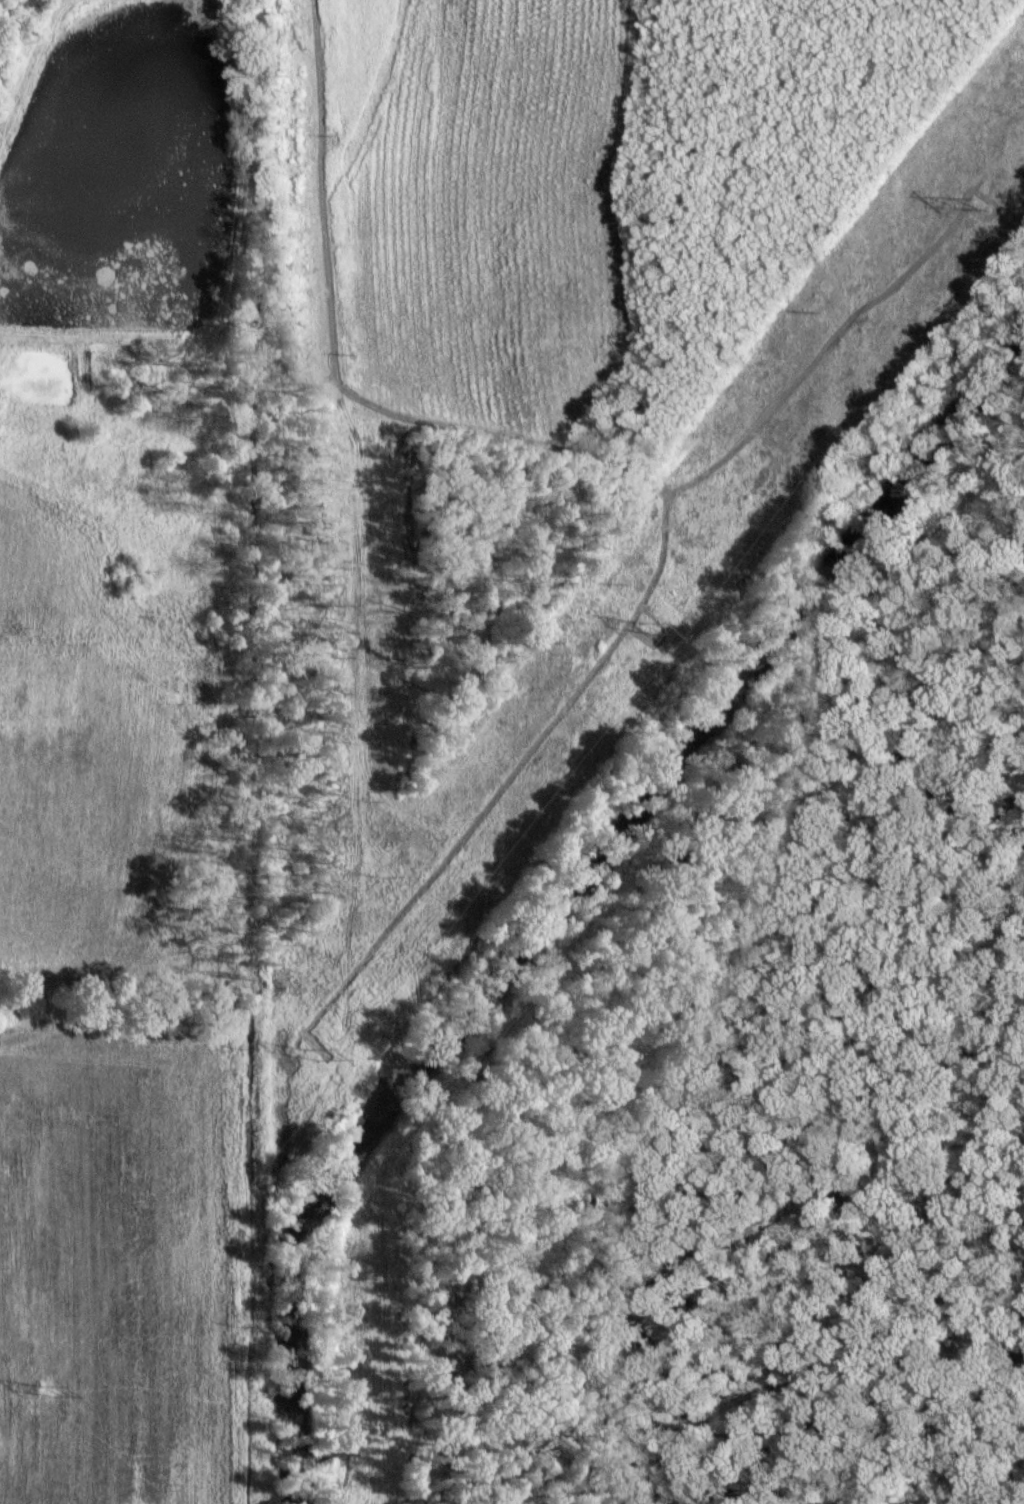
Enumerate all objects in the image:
power tower: (976, 204)
power tower: (645, 630)
power tower: (309, 1056)
power tower: (45, 1392)

